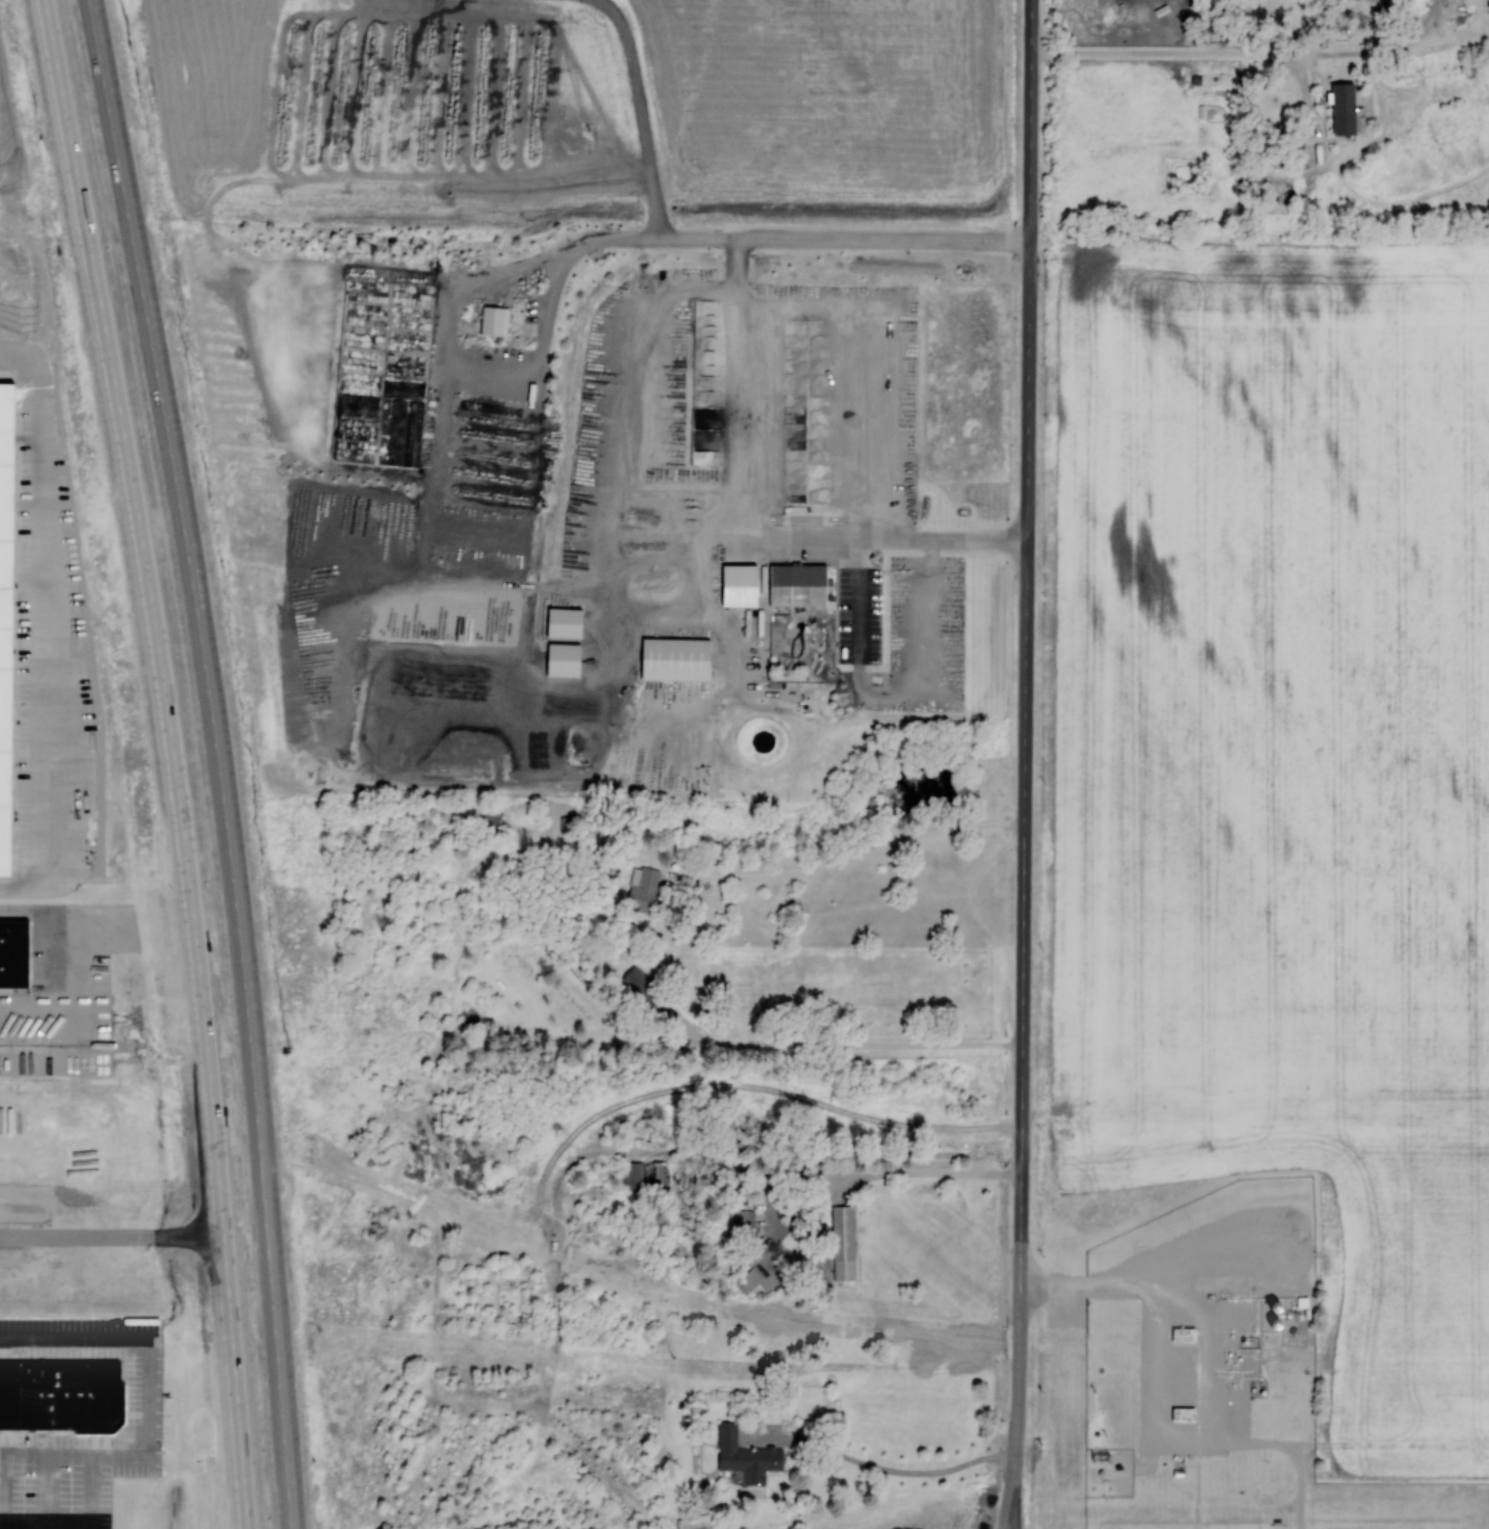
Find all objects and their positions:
road: (1295, 35)
road: (1313, 44)
road: (1163, 52)
road: (1304, 57)
road: (1354, 70)
road: (1308, 97)
building: (1343, 108)
road: (750, 239)
building: (494, 320)
road: (749, 521)
building: (739, 584)
building: (797, 584)
building: (6, 617)
building: (675, 658)
building: (563, 659)
road: (1025, 728)
road: (221, 760)
building: (567, 825)
building: (14, 952)
building: (639, 983)
road: (848, 1044)
building: (654, 1137)
building: (656, 1172)
building: (633, 1175)
building: (744, 1218)
road: (74, 1235)
building: (843, 1242)
building: (760, 1273)
building: (1183, 1334)
building: (61, 1395)
building: (1183, 1414)
building: (746, 1455)
road: (881, 1468)
road: (1009, 1492)
building: (695, 1522)

